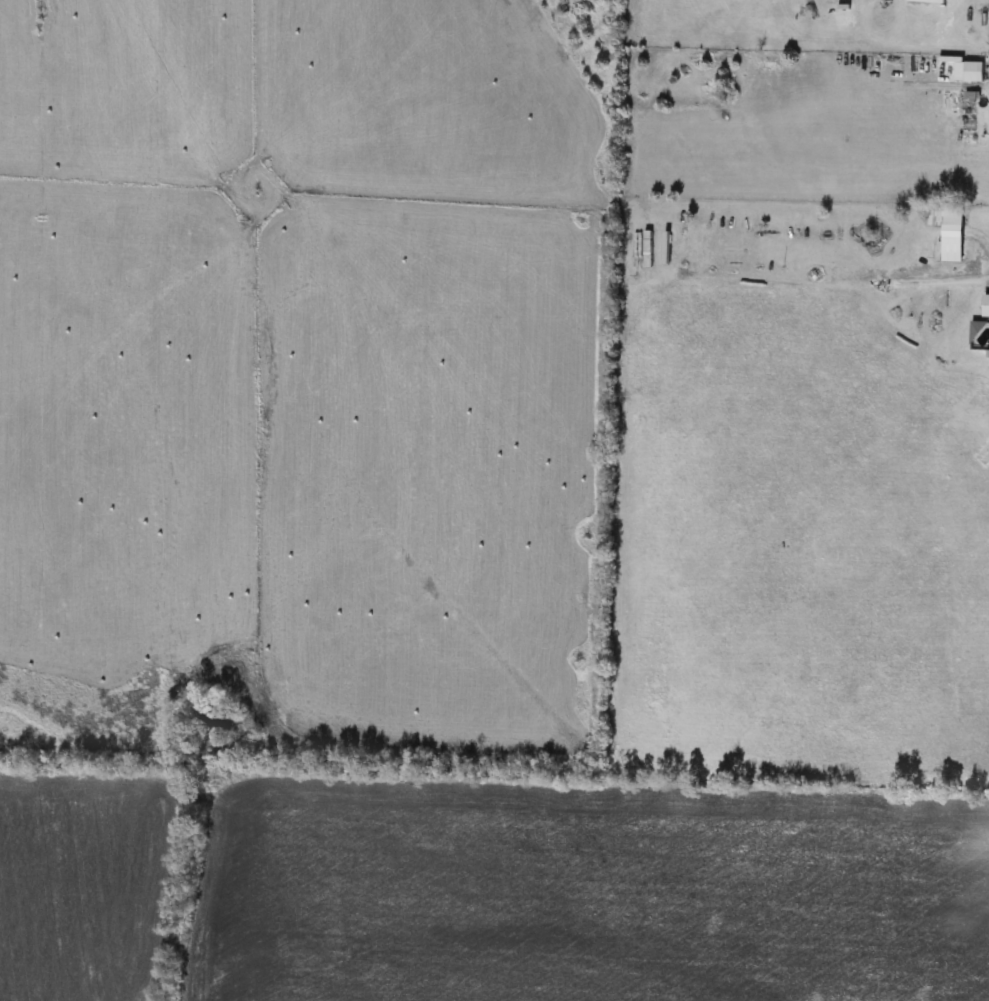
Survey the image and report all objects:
building: (928, 2)
building: (970, 73)
building: (950, 231)
building: (648, 249)
road: (941, 280)
building: (987, 305)

